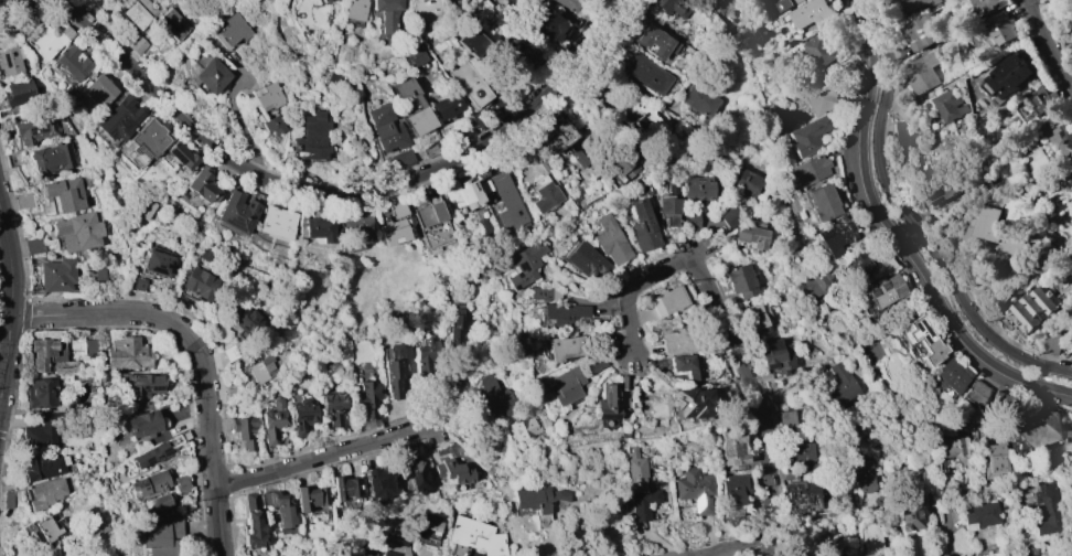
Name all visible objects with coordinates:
building: (103, 0)
building: (323, 1)
building: (933, 1)
building: (913, 2)
building: (569, 4)
building: (785, 4)
building: (989, 6)
building: (671, 7)
building: (424, 9)
building: (354, 11)
building: (139, 12)
building: (386, 13)
building: (810, 13)
road: (870, 17)
building: (545, 23)
building: (173, 24)
building: (1004, 26)
building: (233, 30)
building: (920, 31)
building: (1065, 38)
building: (50, 39)
building: (469, 41)
building: (653, 41)
building: (137, 45)
road: (1047, 46)
building: (527, 50)
building: (822, 50)
building: (414, 53)
building: (10, 60)
building: (72, 63)
building: (922, 72)
building: (645, 73)
building: (210, 75)
building: (1009, 75)
building: (332, 79)
road: (961, 79)
building: (468, 85)
building: (98, 90)
building: (18, 92)
building: (269, 96)
building: (815, 96)
building: (1043, 98)
building: (699, 100)
building: (418, 105)
building: (444, 106)
building: (952, 106)
building: (637, 117)
building: (119, 118)
rooftop solar panel: (120, 121)
building: (272, 125)
building: (383, 128)
building: (34, 129)
rooftop solar panel: (41, 129)
rooftop solar panel: (30, 131)
rooftop solar panel: (110, 132)
building: (555, 133)
building: (904, 133)
building: (807, 135)
rooftop solar panel: (120, 136)
building: (310, 137)
building: (149, 138)
building: (1061, 139)
building: (182, 156)
building: (401, 158)
building: (578, 158)
building: (50, 159)
building: (624, 167)
building: (806, 170)
building: (746, 181)
building: (603, 184)
building: (202, 185)
building: (698, 189)
building: (462, 192)
building: (945, 192)
building: (64, 193)
building: (543, 193)
road: (340, 194)
building: (23, 201)
building: (507, 202)
building: (821, 202)
building: (170, 206)
building: (396, 209)
building: (669, 210)
building: (235, 214)
building: (730, 217)
building: (989, 220)
building: (275, 221)
building: (690, 222)
rooftop solar panel: (232, 224)
building: (432, 224)
building: (643, 226)
building: (314, 227)
building: (356, 229)
building: (77, 231)
building: (392, 232)
road: (921, 233)
building: (752, 235)
building: (835, 235)
building: (610, 240)
road: (2, 242)
building: (33, 246)
road: (7, 249)
road: (908, 249)
road: (3, 250)
building: (586, 260)
building: (158, 261)
building: (885, 263)
building: (525, 264)
building: (854, 266)
building: (96, 274)
building: (57, 275)
building: (740, 280)
road: (4, 281)
building: (816, 282)
building: (137, 284)
building: (199, 284)
rooftop solar panel: (883, 285)
rooftop solar panel: (1044, 290)
building: (882, 291)
building: (539, 293)
rooftop solar panel: (869, 293)
rooftop solar panel: (1058, 300)
building: (1071, 300)
building: (664, 302)
building: (1031, 308)
building: (564, 313)
building: (759, 313)
road: (4, 316)
building: (247, 320)
building: (458, 324)
road: (725, 325)
rooftop solar panel: (920, 325)
rooftop solar panel: (914, 328)
road: (7, 333)
building: (678, 339)
rooftop solar panel: (921, 340)
building: (923, 340)
building: (1052, 341)
building: (89, 345)
building: (566, 347)
road: (200, 352)
building: (125, 353)
building: (231, 353)
building: (426, 355)
building: (774, 356)
building: (47, 359)
road: (1064, 361)
building: (679, 362)
building: (593, 363)
building: (396, 367)
building: (261, 370)
building: (950, 376)
building: (838, 381)
building: (623, 382)
building: (143, 384)
building: (566, 385)
building: (492, 391)
building: (974, 393)
building: (41, 394)
building: (232, 394)
building: (368, 397)
building: (998, 402)
building: (689, 403)
building: (608, 404)
building: (334, 408)
building: (302, 414)
building: (786, 418)
building: (274, 421)
building: (142, 424)
building: (523, 427)
building: (245, 432)
building: (1037, 434)
building: (39, 435)
building: (1069, 441)
building: (732, 447)
building: (951, 450)
building: (795, 452)
building: (153, 455)
road: (332, 457)
building: (997, 458)
building: (42, 467)
building: (452, 471)
building: (412, 474)
building: (865, 475)
building: (376, 482)
building: (150, 483)
building: (182, 483)
building: (344, 487)
building: (640, 487)
building: (695, 489)
building: (44, 493)
building: (731, 494)
building: (309, 496)
building: (797, 496)
building: (537, 502)
building: (156, 503)
rooftop solar panel: (698, 504)
building: (279, 506)
building: (1047, 510)
building: (908, 515)
building: (979, 515)
road: (827, 521)
building: (253, 523)
building: (426, 526)
road: (934, 526)
road: (948, 526)
building: (46, 530)
building: (475, 536)
building: (161, 537)
building: (871, 541)
road: (738, 545)
building: (395, 547)
road: (568, 550)
building: (422, 553)
building: (364, 554)
building: (764, 554)
building: (832, 554)
building: (1031, 555)
building: (1037, 555)

